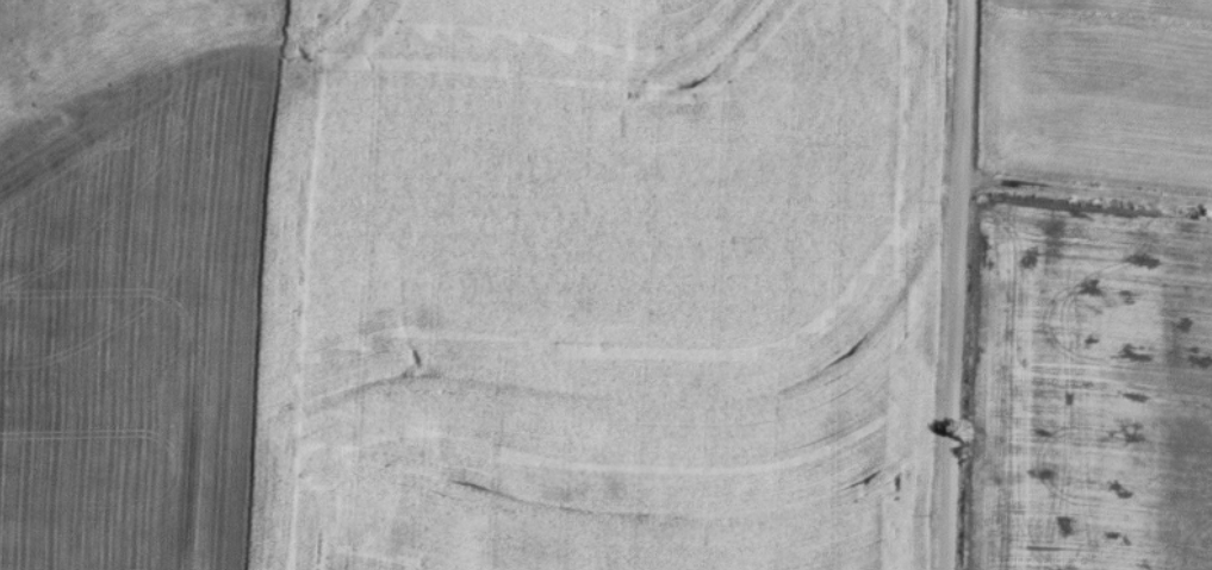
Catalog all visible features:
road: (1082, 198)
road: (949, 284)

